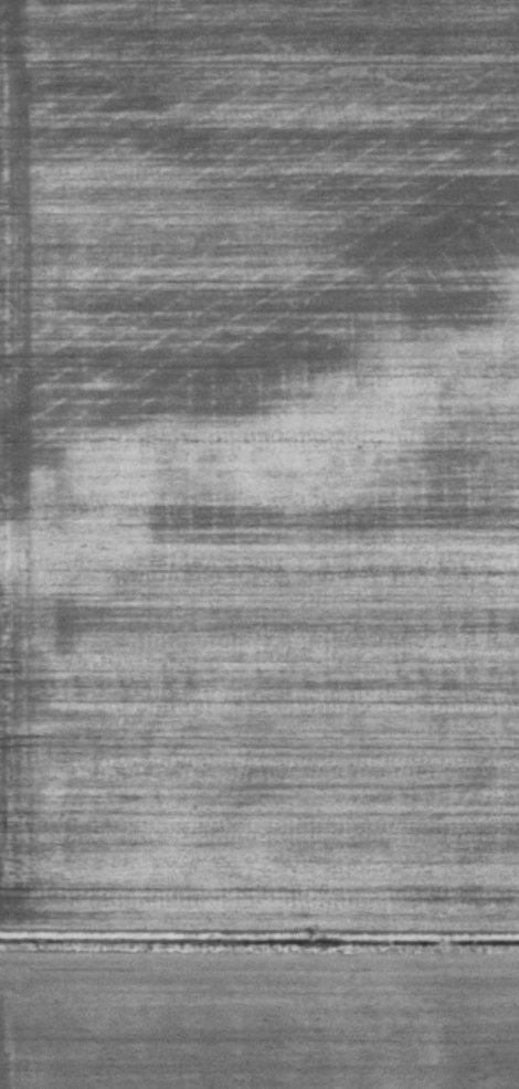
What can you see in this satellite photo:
crop: (259, 544)

